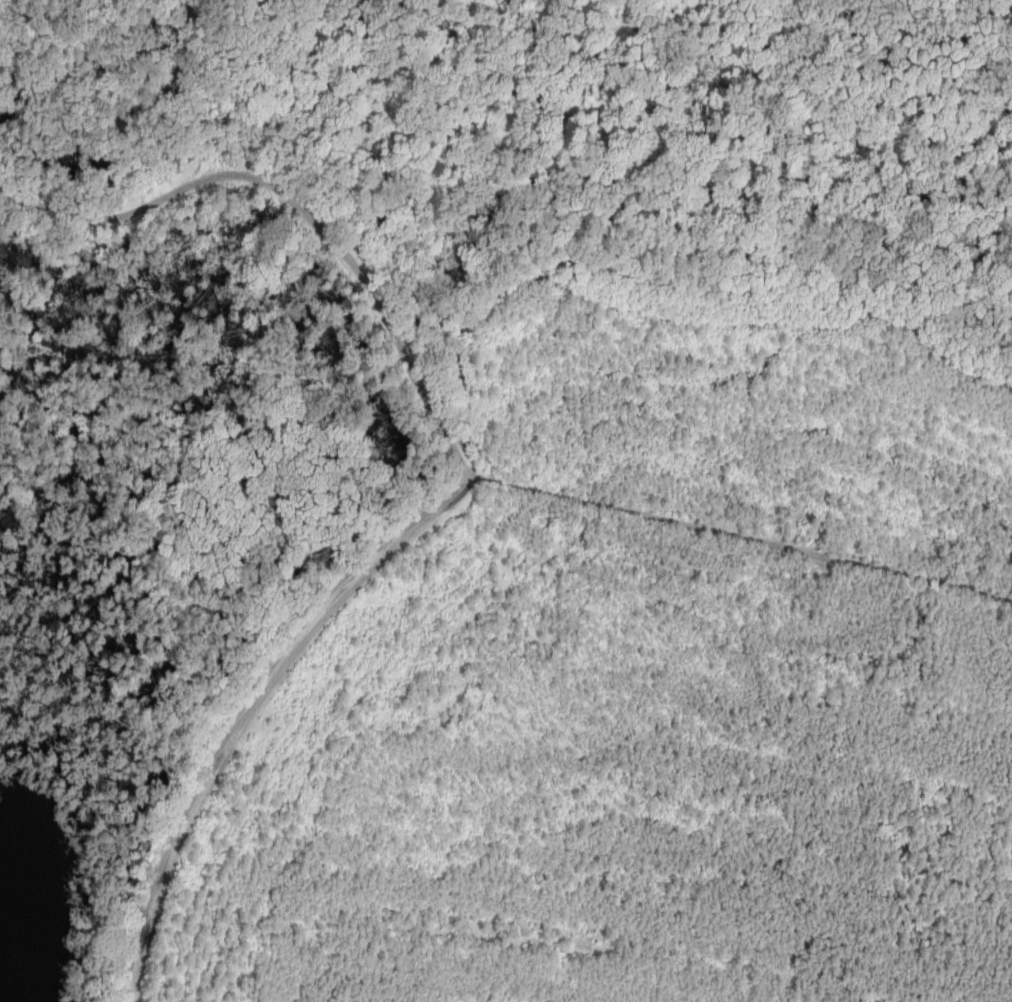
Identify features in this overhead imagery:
road: (449, 438)
road: (249, 708)

